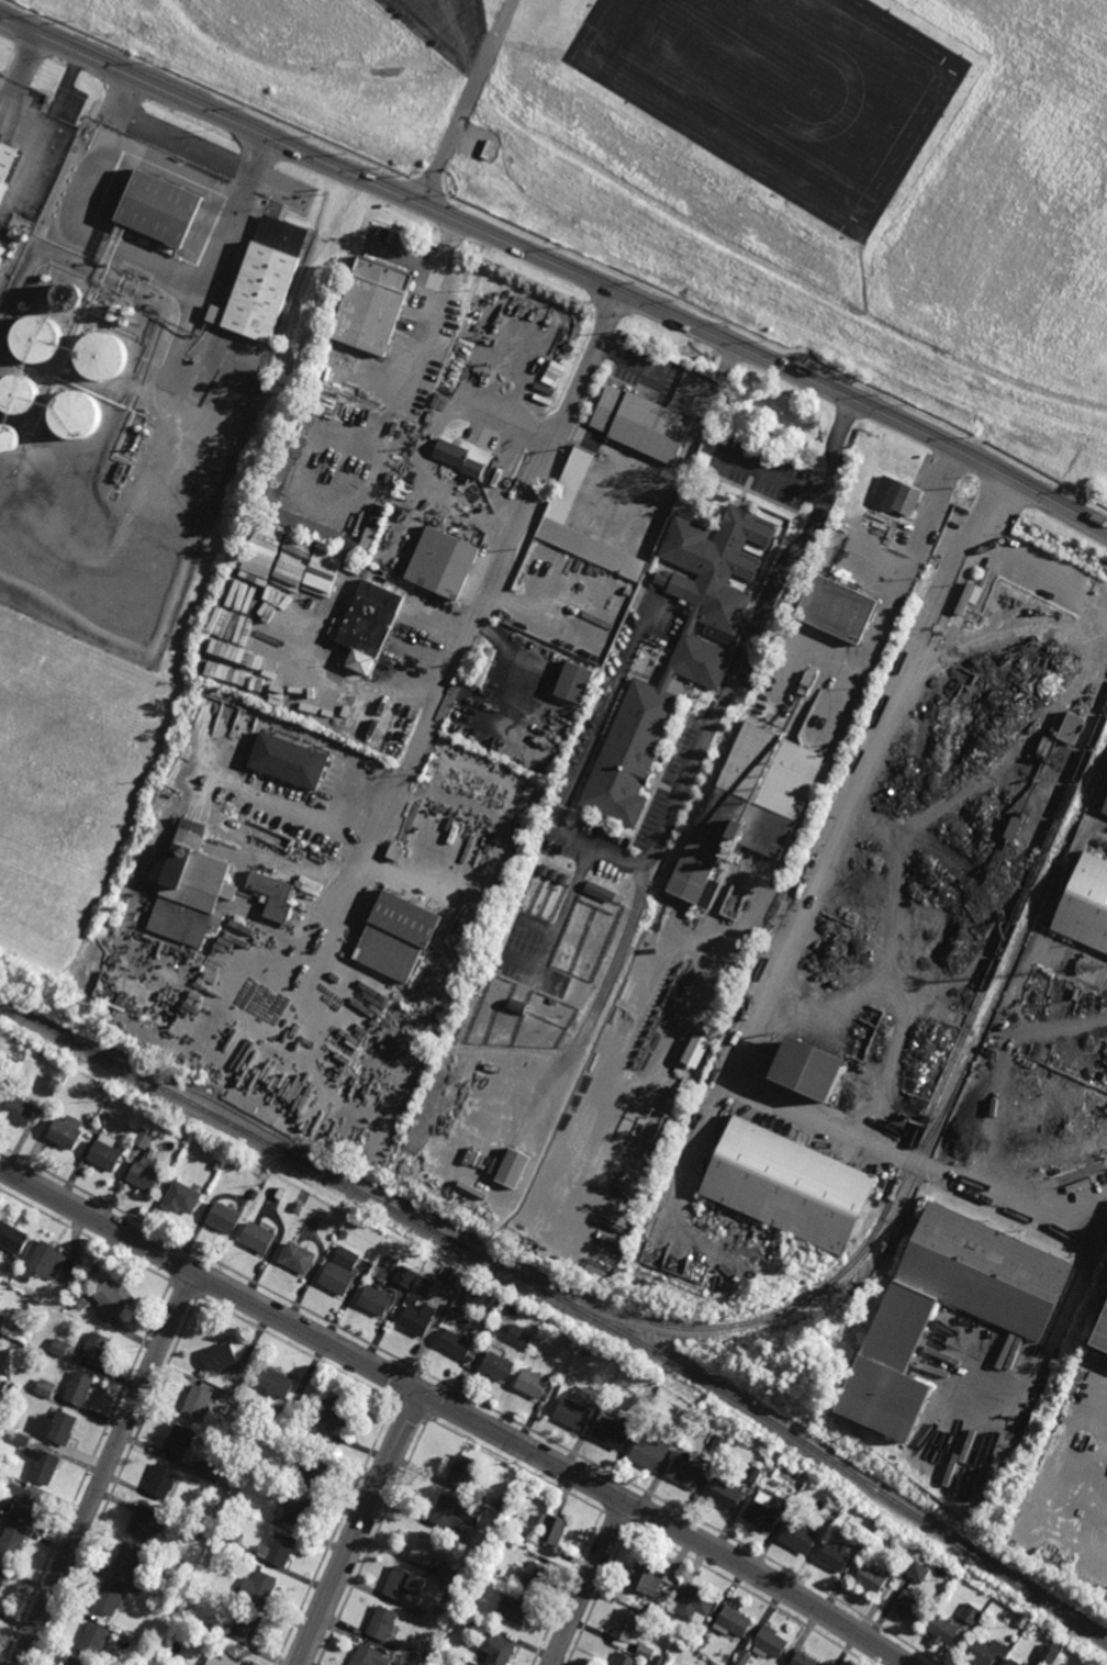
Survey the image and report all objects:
road: (183, 145)
building: (489, 150)
building: (7, 159)
building: (161, 205)
building: (11, 231)
storage tank: (11, 231)
building: (23, 236)
storage tank: (23, 236)
building: (2, 253)
road: (558, 264)
building: (264, 279)
road: (433, 289)
building: (67, 295)
storage tank: (67, 295)
building: (372, 303)
building: (116, 306)
storage tank: (116, 306)
building: (128, 310)
storage tank: (128, 310)
building: (112, 316)
storage tank: (112, 316)
building: (124, 322)
storage tank: (124, 322)
building: (37, 338)
storage tank: (37, 338)
building: (101, 355)
storage tank: (101, 355)
building: (20, 392)
storage tank: (20, 392)
building: (77, 413)
storage tank: (77, 413)
building: (641, 423)
building: (138, 426)
storage tank: (138, 426)
building: (146, 429)
storage tank: (146, 429)
building: (10, 436)
storage tank: (10, 436)
road: (429, 439)
building: (297, 446)
building: (459, 457)
road: (773, 473)
building: (280, 482)
building: (569, 488)
building: (897, 495)
road: (937, 502)
road: (516, 532)
building: (443, 562)
building: (971, 593)
building: (838, 608)
road: (886, 617)
building: (369, 624)
building: (678, 651)
building: (484, 667)
building: (575, 682)
building: (1071, 727)
building: (905, 742)
building: (288, 760)
road: (682, 782)
building: (749, 807)
building: (1104, 807)
road: (390, 819)
building: (394, 852)
building: (186, 890)
building: (272, 895)
building: (1085, 904)
building: (544, 907)
road: (329, 910)
building: (398, 936)
road: (786, 952)
building: (695, 1050)
building: (11, 1064)
building: (808, 1068)
building: (49, 1084)
building: (20, 1108)
building: (242, 1114)
building: (104, 1118)
building: (271, 1130)
building: (65, 1131)
building: (144, 1137)
building: (105, 1153)
building: (216, 1164)
building: (146, 1171)
building: (789, 1183)
building: (254, 1194)
building: (182, 1197)
railway: (903, 1203)
building: (295, 1207)
building: (225, 1217)
building: (343, 1234)
building: (259, 1237)
building: (11, 1239)
building: (0, 1251)
building: (3, 1253)
building: (299, 1256)
building: (346, 1256)
building: (387, 1261)
building: (47, 1262)
building: (405, 1277)
building: (337, 1278)
building: (423, 1286)
building: (376, 1300)
building: (109, 1303)
railway: (566, 1303)
building: (75, 1304)
building: (417, 1319)
building: (2, 1321)
building: (904, 1328)
building: (1102, 1333)
building: (482, 1334)
building: (521, 1337)
building: (456, 1344)
building: (59, 1348)
building: (94, 1350)
building: (220, 1357)
building: (497, 1366)
building: (533, 1383)
building: (657, 1383)
building: (276, 1384)
building: (77, 1388)
building: (45, 1389)
building: (645, 1392)
building: (198, 1404)
road: (454, 1413)
building: (332, 1415)
building: (573, 1415)
building: (55, 1428)
building: (614, 1432)
building: (20, 1441)
building: (180, 1443)
building: (719, 1444)
building: (650, 1456)
building: (41, 1467)
road: (108, 1470)
building: (210, 1471)
building: (462, 1472)
building: (314, 1473)
building: (689, 1473)
building: (754, 1474)
building: (161, 1482)
building: (801, 1489)
building: (726, 1494)
building: (477, 1498)
building: (22, 1508)
building: (295, 1511)
building: (763, 1512)
building: (454, 1516)
building: (147, 1527)
road: (362, 1531)
building: (555, 1532)
building: (800, 1537)
building: (201, 1539)
building: (522, 1540)
building: (11, 1543)
building: (279, 1551)
building: (426, 1552)
building: (837, 1556)
building: (127, 1561)
building: (210, 1561)
building: (901, 1568)
building: (205, 1573)
building: (919, 1573)
building: (447, 1576)
building: (534, 1579)
building: (648, 1579)
building: (871, 1579)
building: (1, 1582)
building: (403, 1584)
road: (590, 1584)
building: (258, 1588)
building: (109, 1599)
building: (910, 1605)
building: (697, 1606)
building: (515, 1611)
building: (661, 1612)
building: (971, 1613)
building: (670, 1618)
building: (736, 1622)
building: (1021, 1622)
building: (438, 1623)
building: (381, 1624)
building: (628, 1627)
building: (245, 1629)
building: (479, 1629)
building: (942, 1629)
building: (92, 1641)
building: (704, 1641)
building: (771, 1641)
building: (985, 1650)
building: (497, 1651)
building: (648, 1653)
building: (1049, 1653)
building: (368, 1657)
building: (742, 1657)
building: (805, 1658)
building: (421, 1660)
building: (660, 1660)
building: (223, 1661)
building: (627, 1661)
building: (451, 1662)
building: (1013, 1662)
building: (71, 1663)
building: (667, 1663)
building: (646, 1664)

